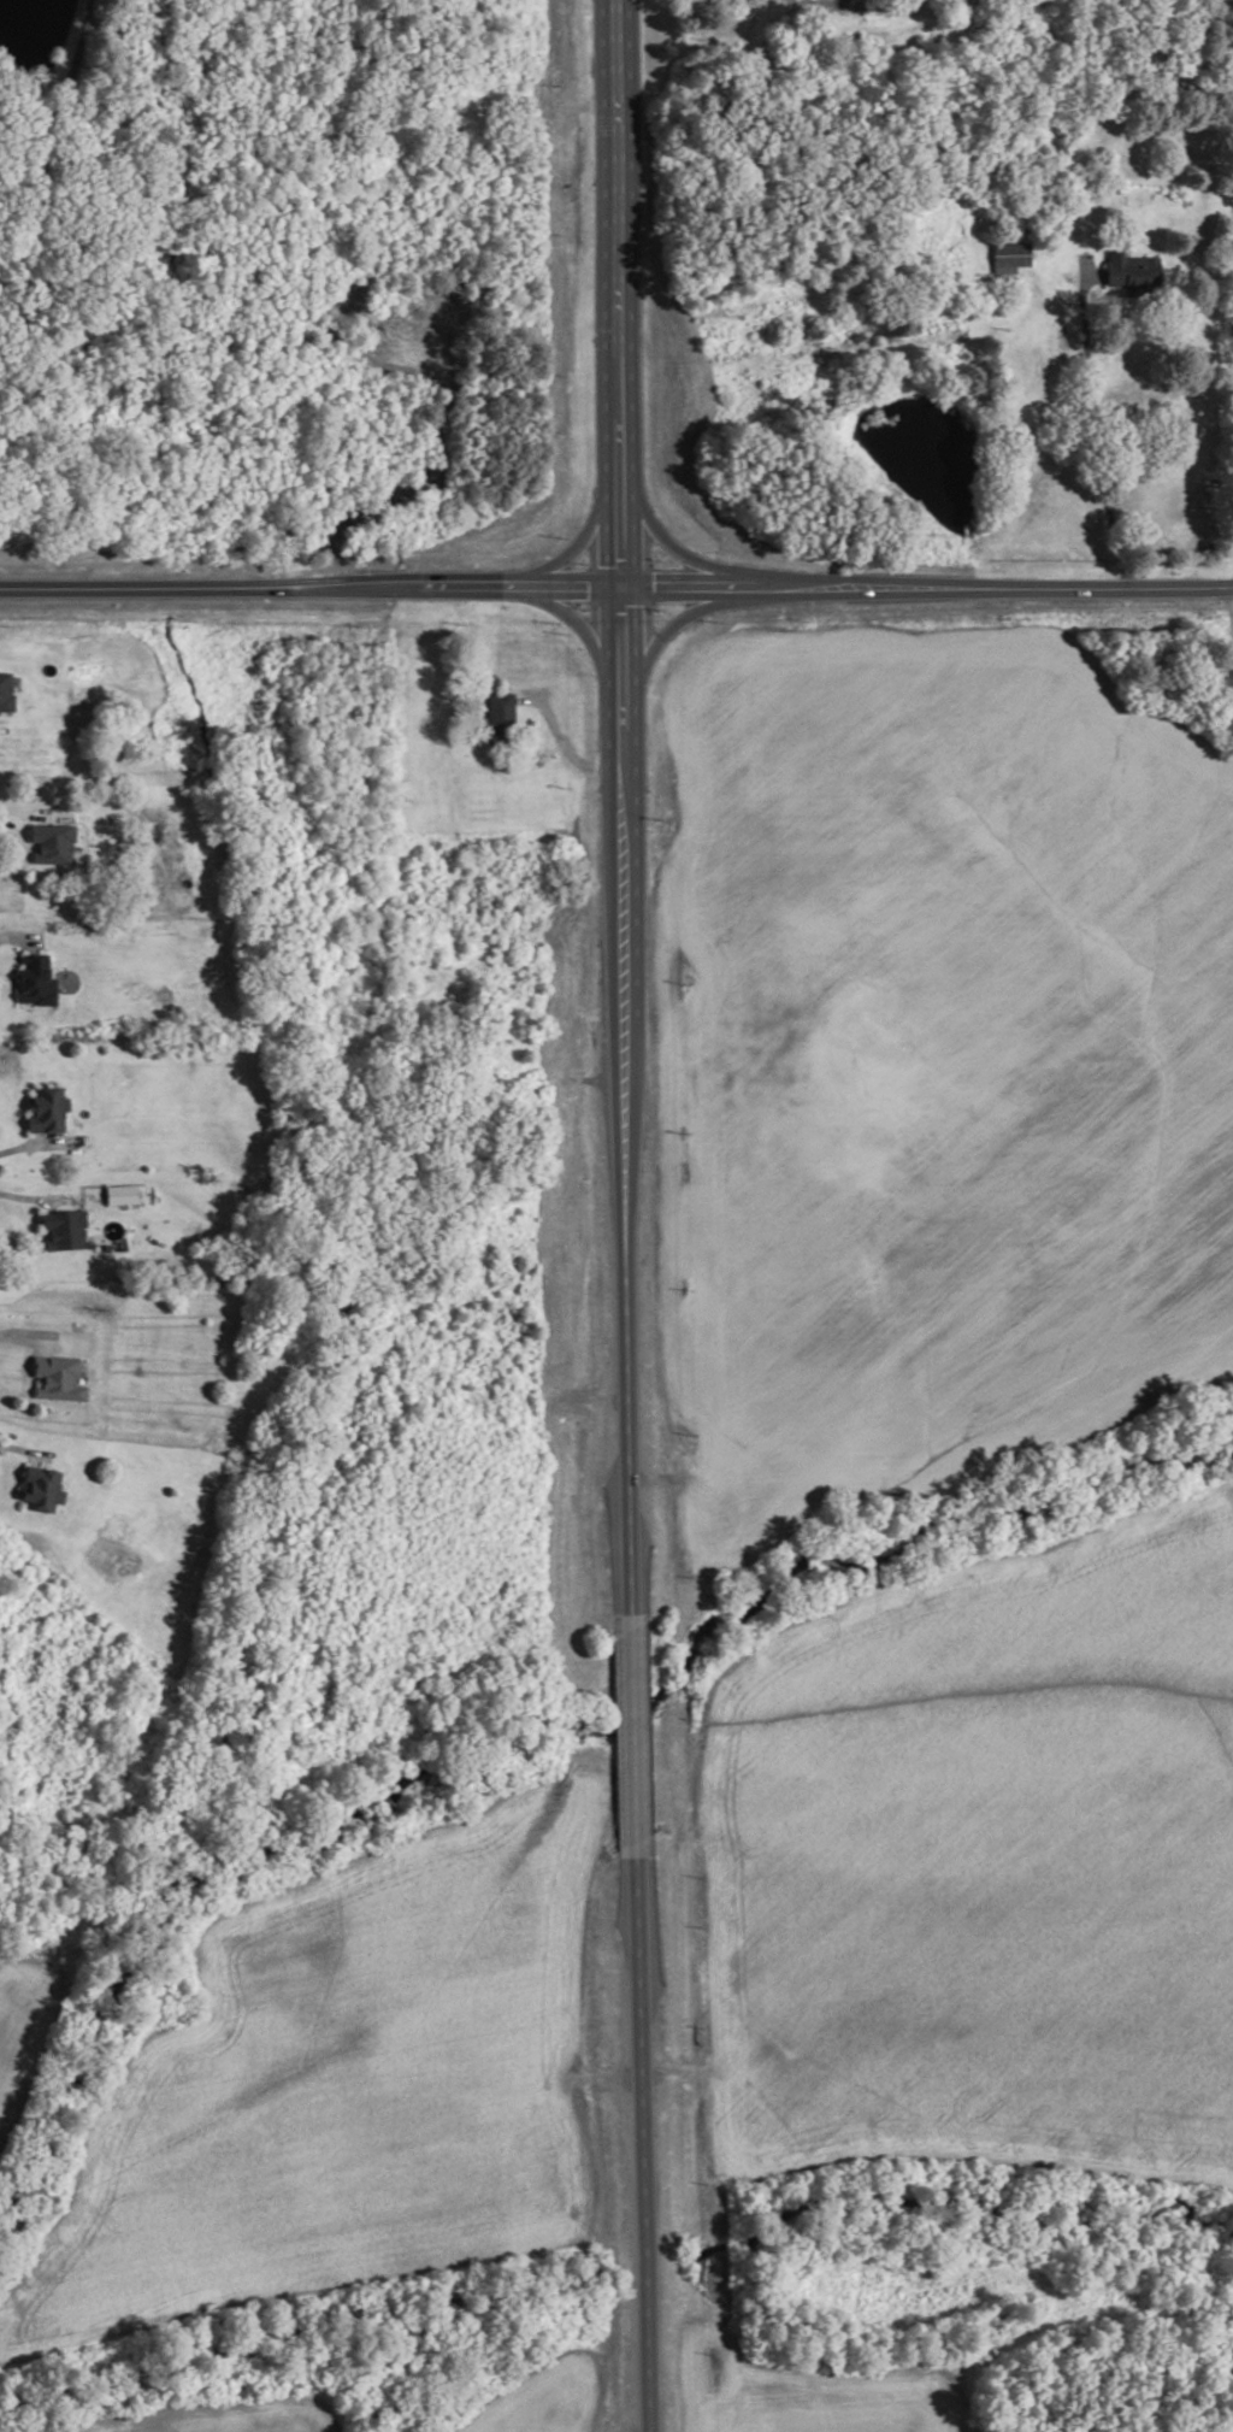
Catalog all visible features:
road: (842, 5)
road: (65, 76)
building: (1008, 258)
building: (1128, 271)
road: (1082, 428)
road: (583, 543)
road: (668, 543)
road: (615, 588)
road: (1228, 610)
road: (583, 629)
road: (669, 630)
building: (5, 694)
building: (498, 720)
road: (564, 743)
road: (623, 761)
road: (22, 813)
road: (23, 834)
building: (49, 843)
road: (17, 936)
road: (14, 962)
building: (34, 982)
building: (45, 1109)
road: (19, 1123)
road: (18, 1147)
building: (119, 1194)
road: (25, 1200)
road: (33, 1220)
building: (60, 1229)
road: (23, 1342)
road: (25, 1366)
building: (55, 1379)
road: (20, 1451)
road: (16, 1472)
building: (39, 1489)
road: (630, 1731)
road: (677, 2072)
road: (601, 2080)
crop: (337, 2089)
road: (639, 2185)
crop: (909, 2289)

